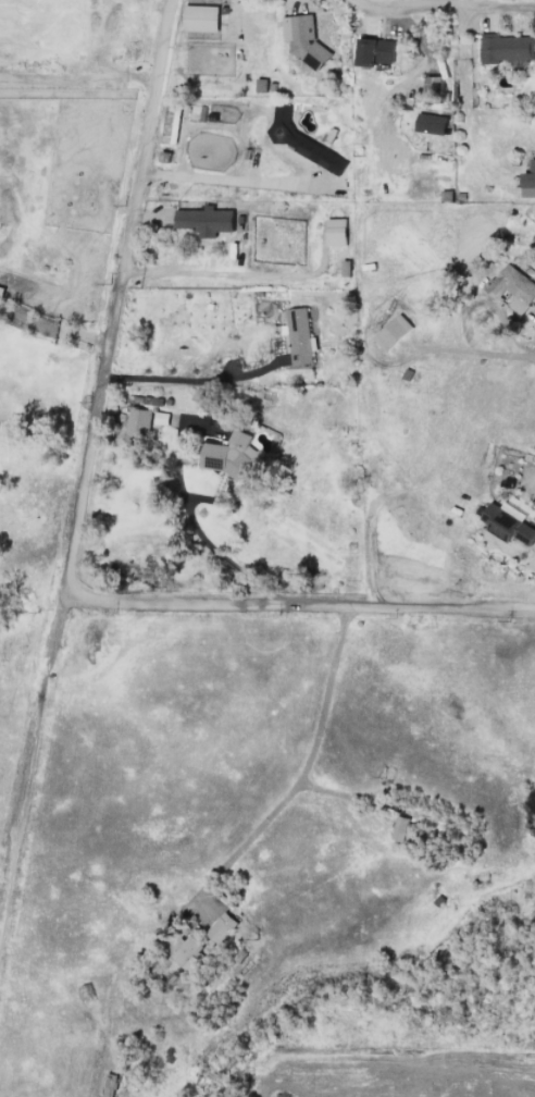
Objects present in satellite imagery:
road: (443, 4)
building: (200, 17)
road: (419, 36)
building: (302, 38)
building: (507, 47)
building: (375, 51)
building: (261, 84)
building: (434, 89)
building: (431, 123)
building: (302, 141)
road: (236, 181)
building: (528, 181)
building: (204, 220)
building: (336, 231)
road: (228, 273)
building: (512, 287)
road: (115, 297)
road: (483, 301)
road: (52, 326)
building: (391, 332)
building: (298, 335)
road: (471, 350)
road: (191, 379)
building: (161, 417)
building: (138, 421)
building: (227, 454)
building: (508, 522)
road: (196, 541)
road: (304, 605)
road: (304, 768)
road: (32, 771)
park: (256, 826)
building: (400, 828)
building: (221, 927)
building: (188, 953)

